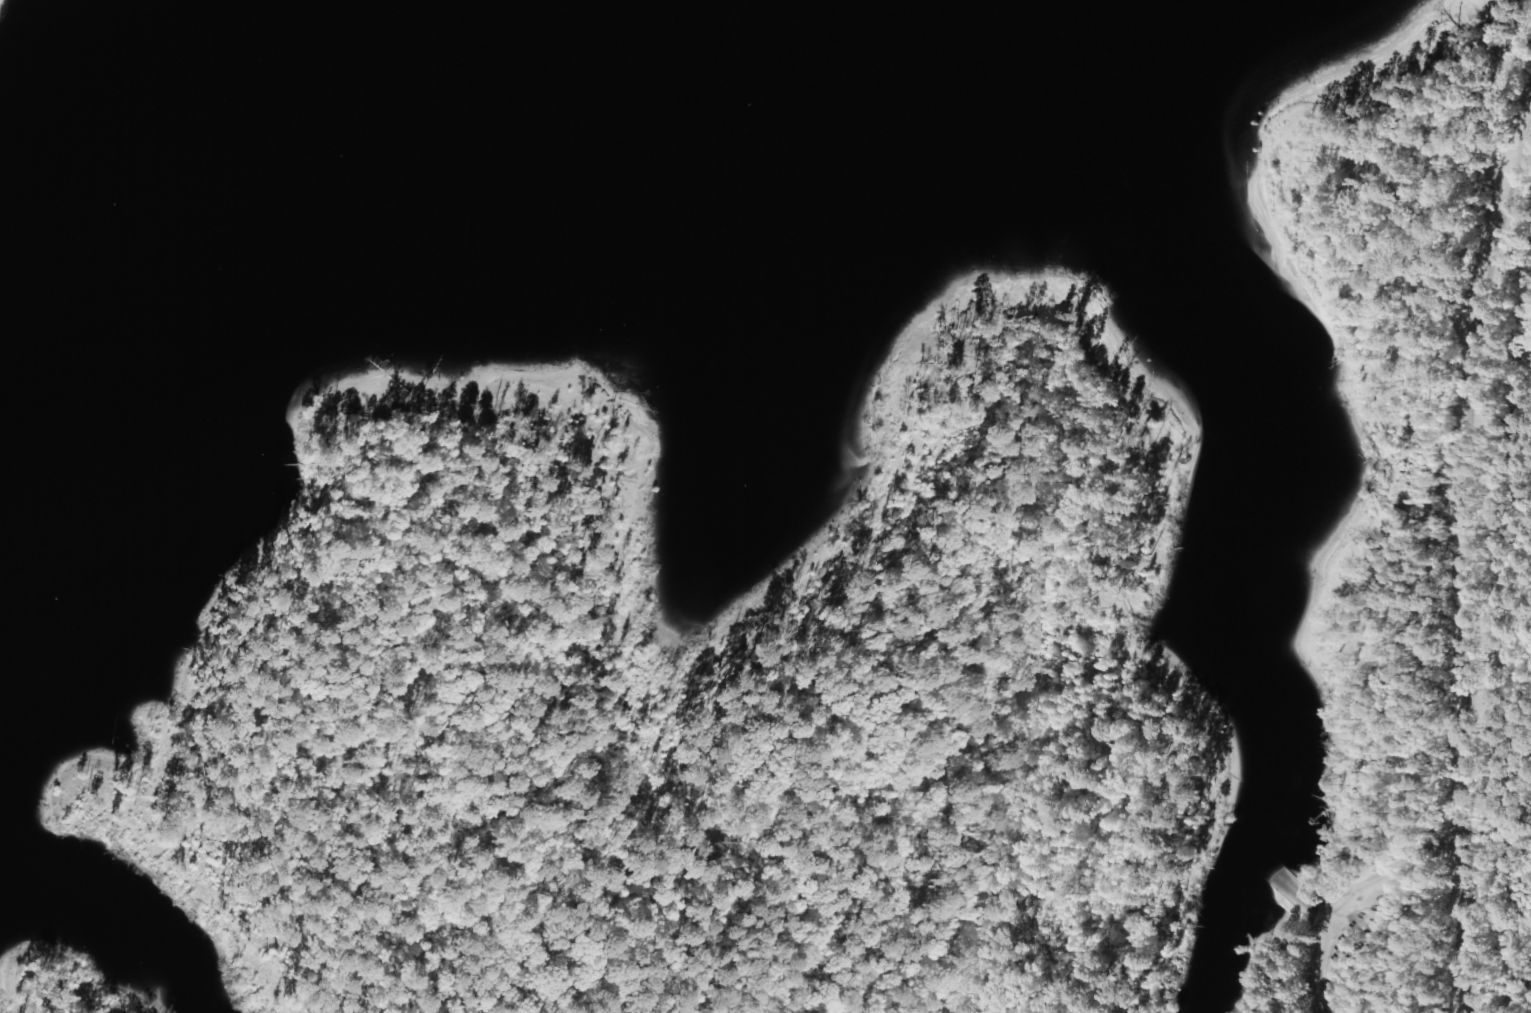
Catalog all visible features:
road: (1441, 127)
road: (1454, 580)
road: (1493, 687)
road: (1360, 909)

